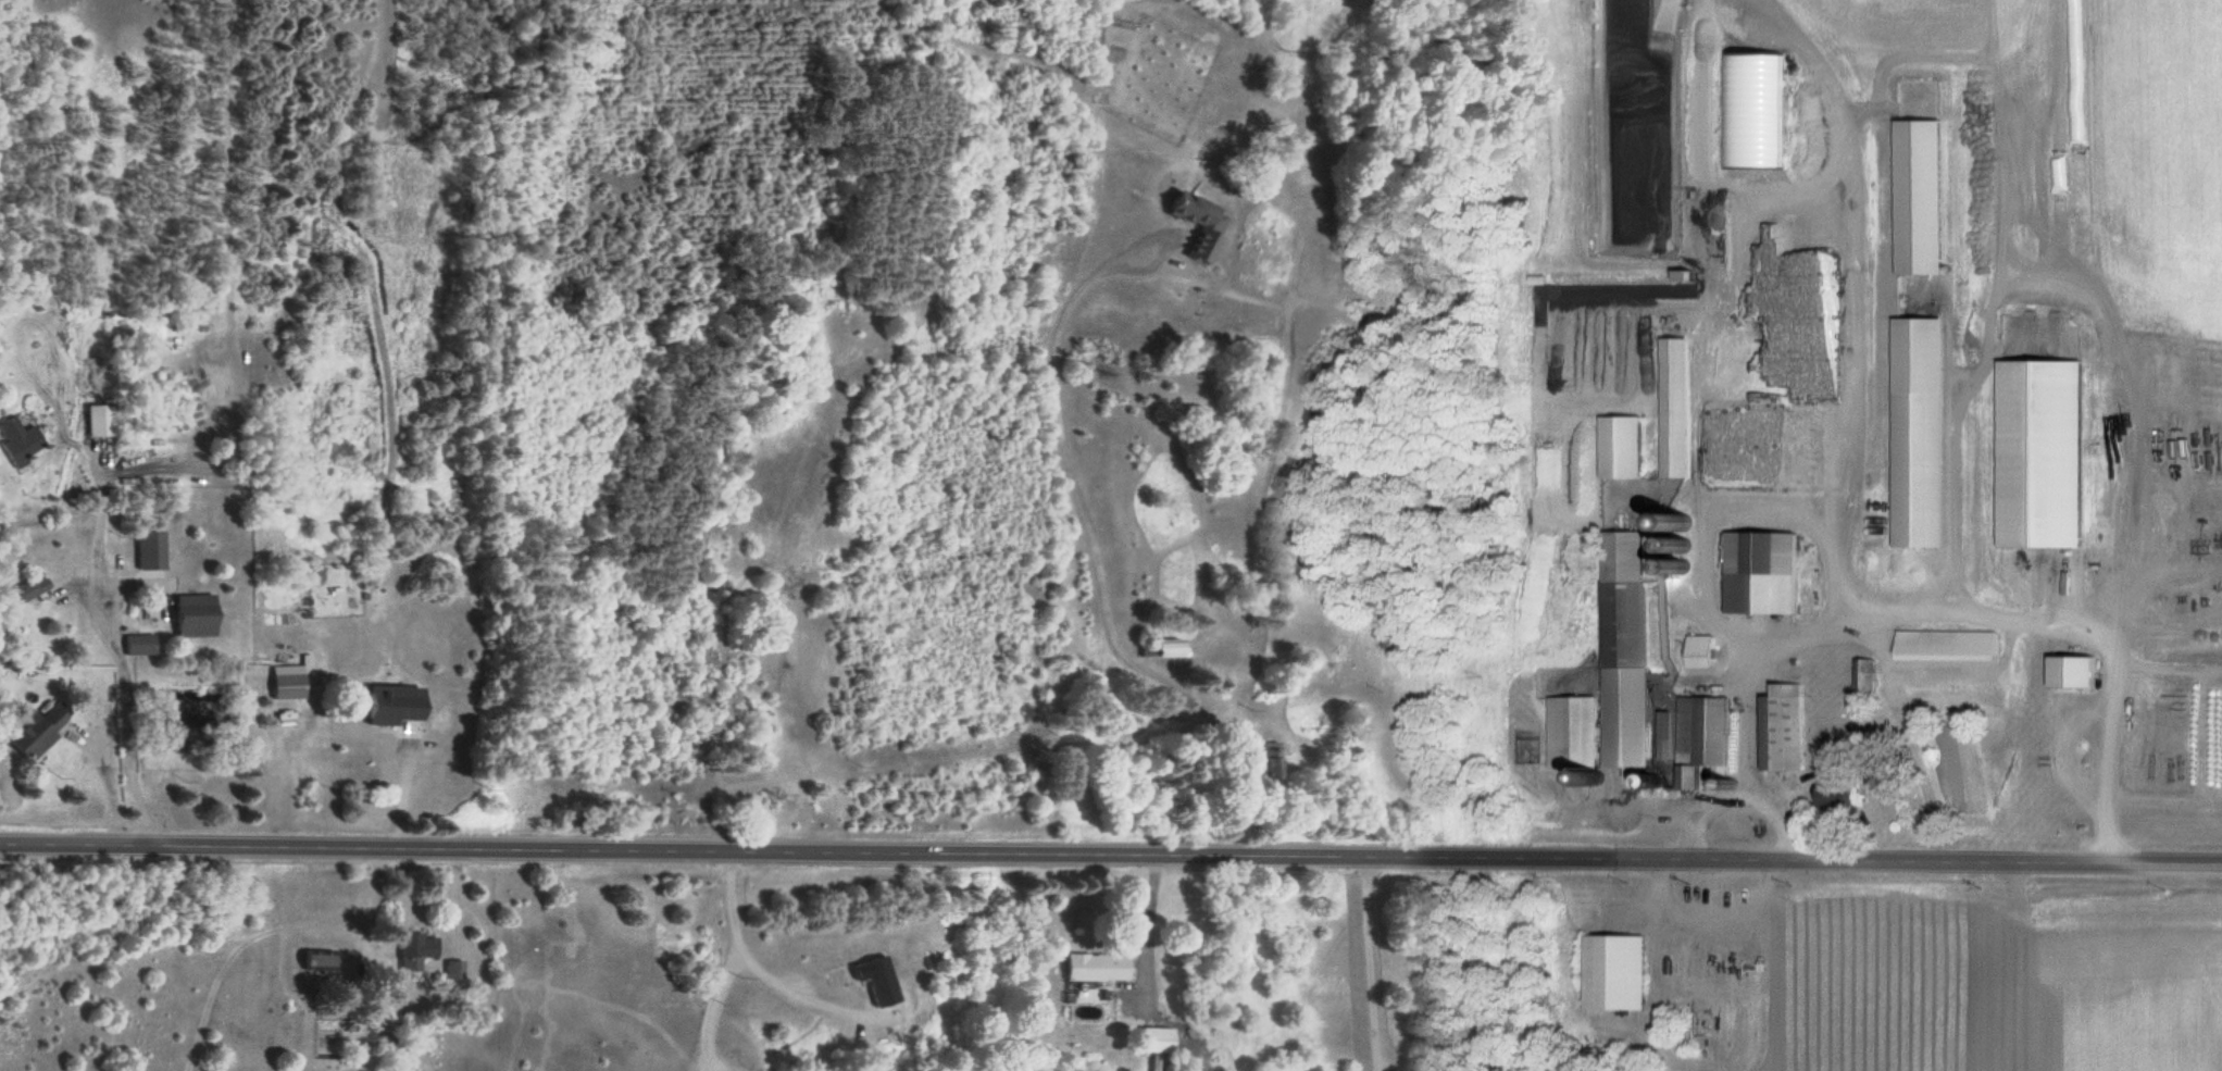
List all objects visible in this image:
building: (1188, 225)
building: (103, 421)
building: (22, 443)
building: (1613, 447)
building: (1911, 470)
building: (152, 549)
building: (1757, 573)
building: (30, 590)
building: (199, 615)
building: (141, 645)
building: (1942, 645)
building: (1156, 649)
building: (1621, 649)
building: (2067, 671)
building: (1862, 678)
building: (282, 686)
road: (123, 722)
building: (1778, 727)
building: (39, 728)
building: (1568, 732)
building: (1699, 740)
building: (1837, 793)
road: (1110, 855)
building: (314, 960)
building: (1086, 967)
building: (450, 970)
building: (1612, 972)

